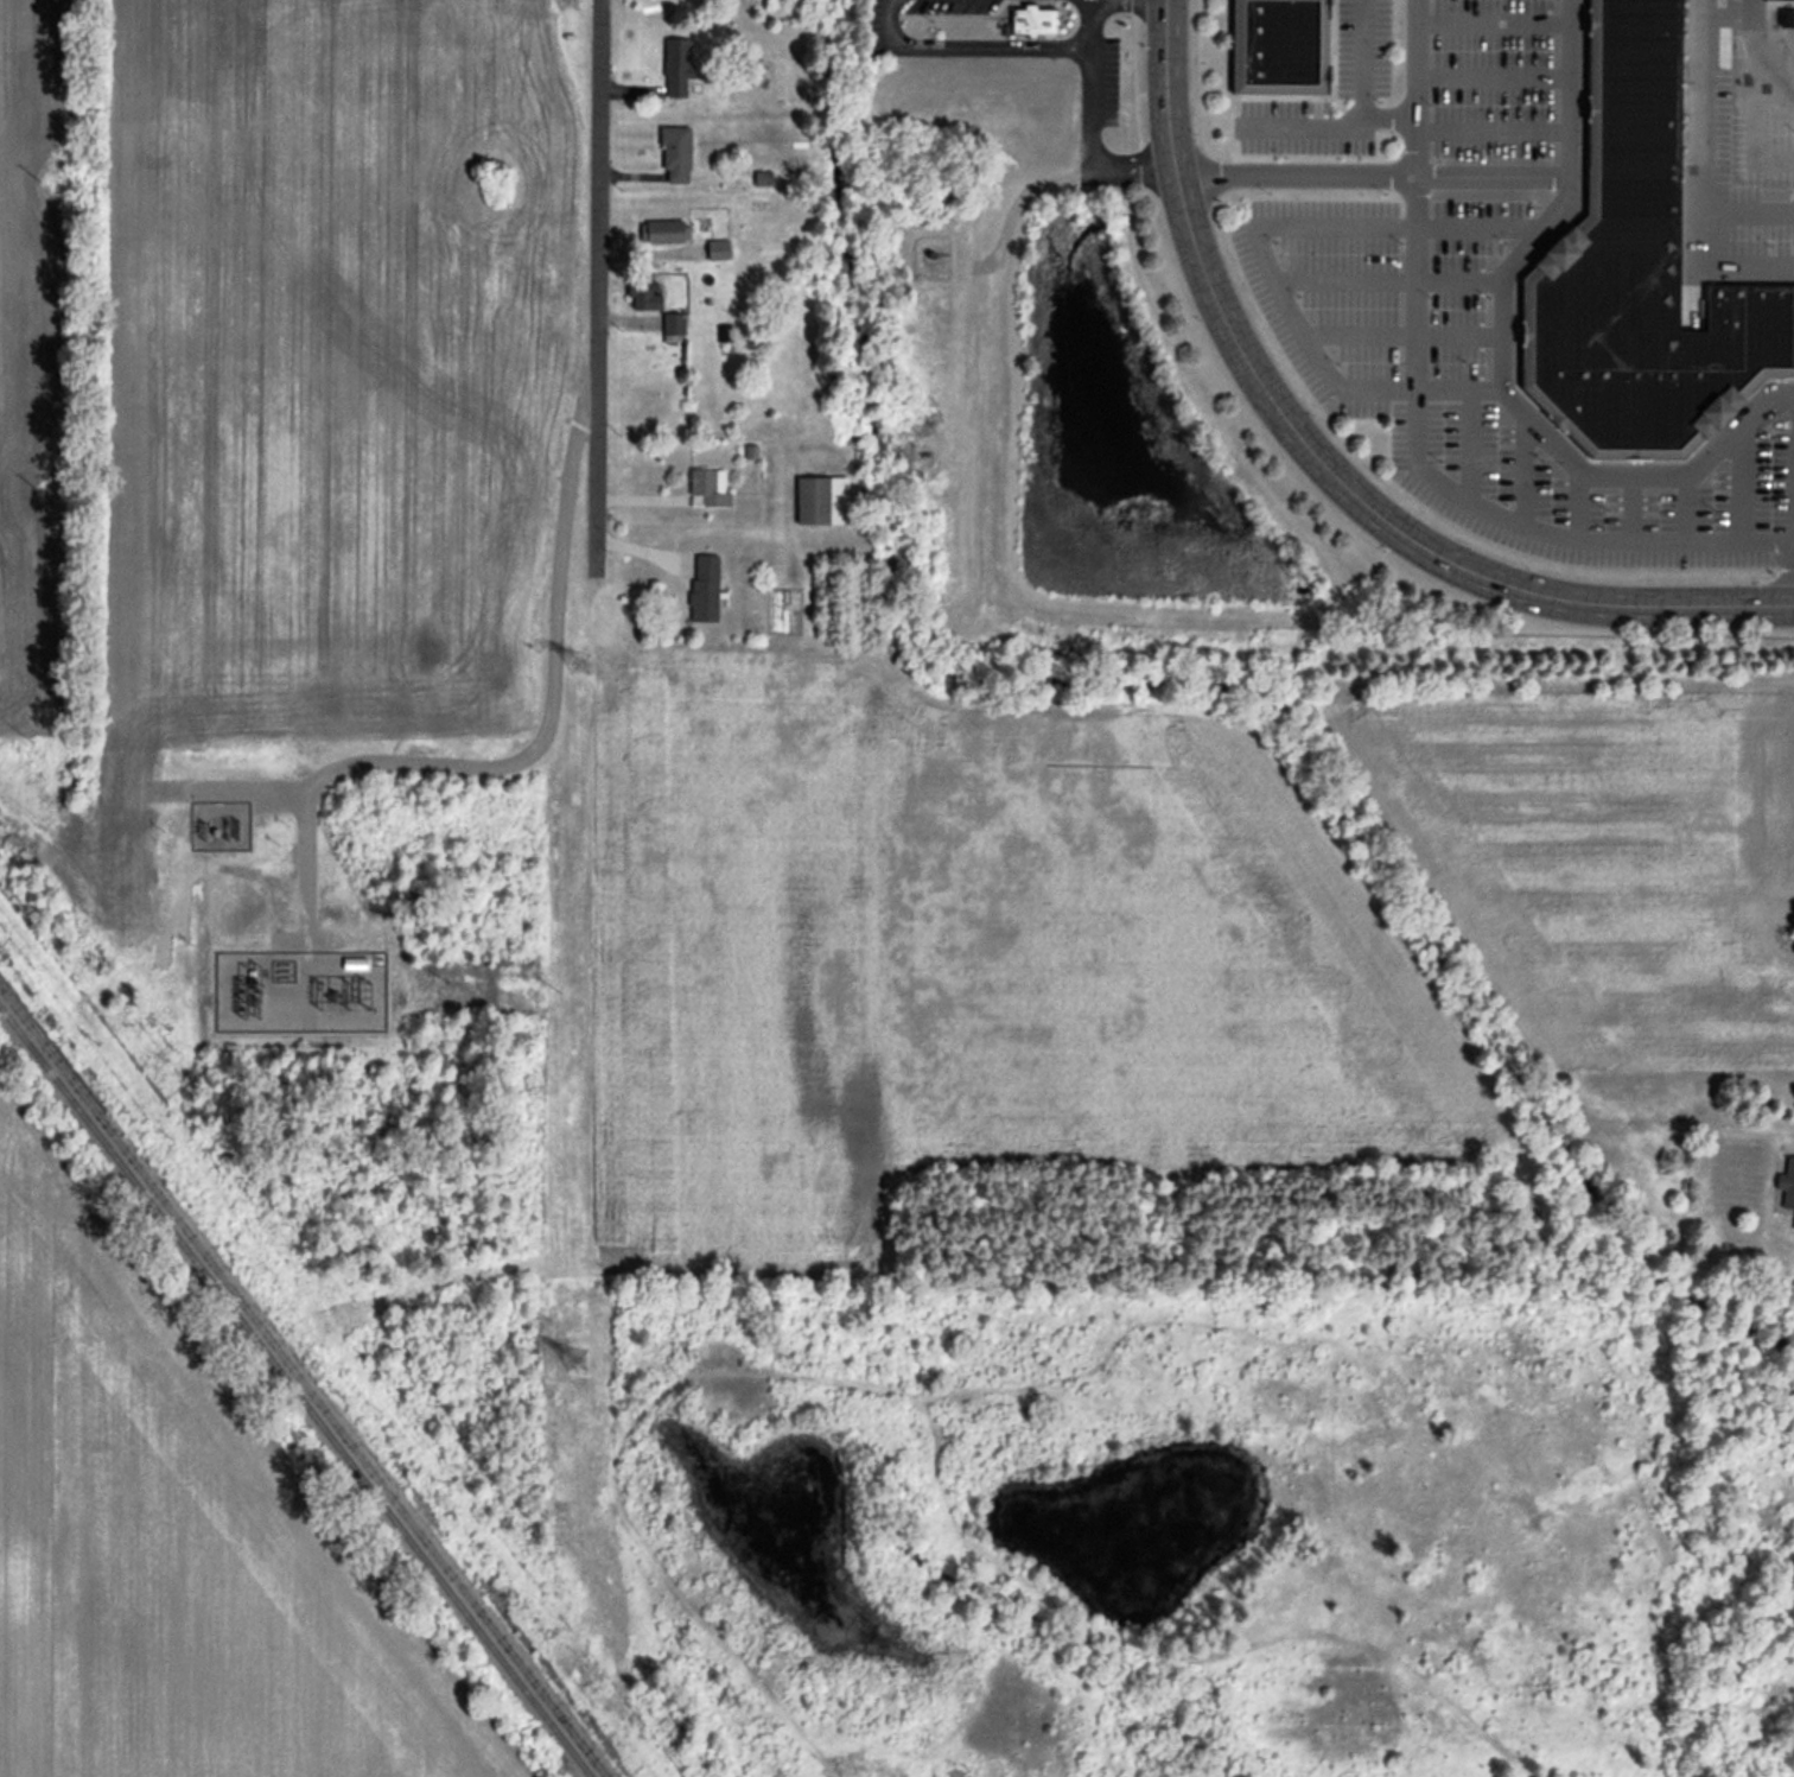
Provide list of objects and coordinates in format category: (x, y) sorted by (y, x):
building: (1777, 0)
power tower: (566, 2)
building: (1029, 23)
road: (1493, 25)
building: (1277, 47)
road: (968, 49)
parking lot: (1362, 49)
building: (676, 66)
road: (1331, 66)
parking lot: (1493, 80)
road: (1493, 80)
road: (1134, 83)
road: (1233, 97)
road: (1769, 99)
road: (1744, 107)
road: (1389, 119)
road: (1363, 120)
road: (1092, 125)
road: (1493, 132)
parking lot: (1736, 142)
building: (673, 152)
road: (1373, 178)
road: (1704, 180)
road: (1749, 212)
building: (666, 231)
building: (719, 250)
road: (1262, 256)
building: (1637, 273)
road: (1391, 284)
road: (597, 290)
building: (643, 293)
building: (674, 324)
building: (725, 332)
road: (1405, 336)
road: (1506, 362)
parking lot: (1478, 386)
road: (1414, 431)
road: (1344, 448)
road: (1469, 448)
building: (750, 451)
road: (1324, 468)
road: (1522, 468)
road: (1742, 483)
building: (707, 488)
building: (820, 501)
road: (1577, 502)
road: (1631, 509)
road: (1686, 509)
building: (701, 590)
power tower: (573, 669)
road: (526, 759)
road: (246, 789)
power substation: (301, 990)
power tower: (552, 996)
building: (1786, 1185)
building: (1793, 1223)
power tower: (567, 1371)
railway: (300, 1384)
railway: (294, 1394)
crop: (178, 1546)

